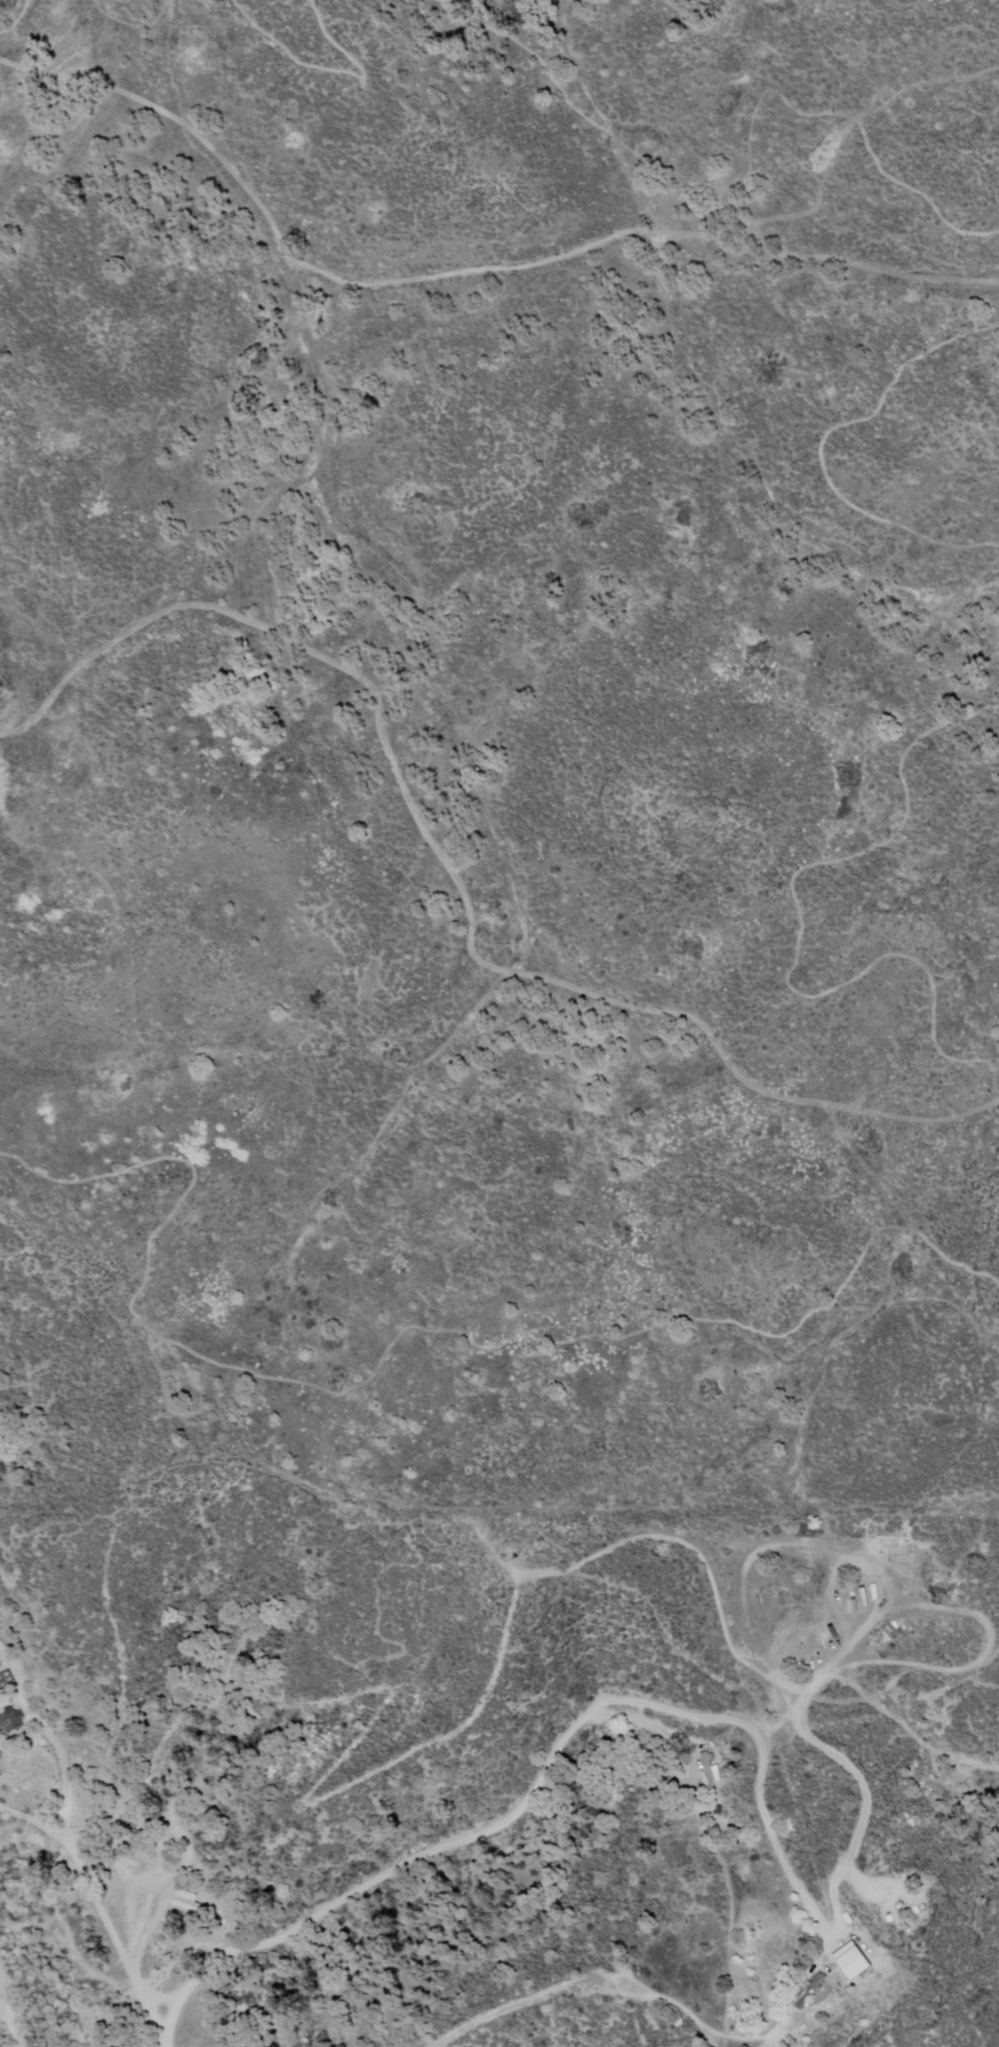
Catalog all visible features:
building: (7, 1683)
building: (13, 1724)
road: (545, 1770)
building: (711, 1770)
building: (967, 1773)
building: (187, 1905)
road: (100, 1920)
building: (173, 1936)
building: (856, 1956)
building: (839, 1984)
building: (810, 1988)
building: (791, 2041)
building: (192, 2044)
building: (783, 2044)

